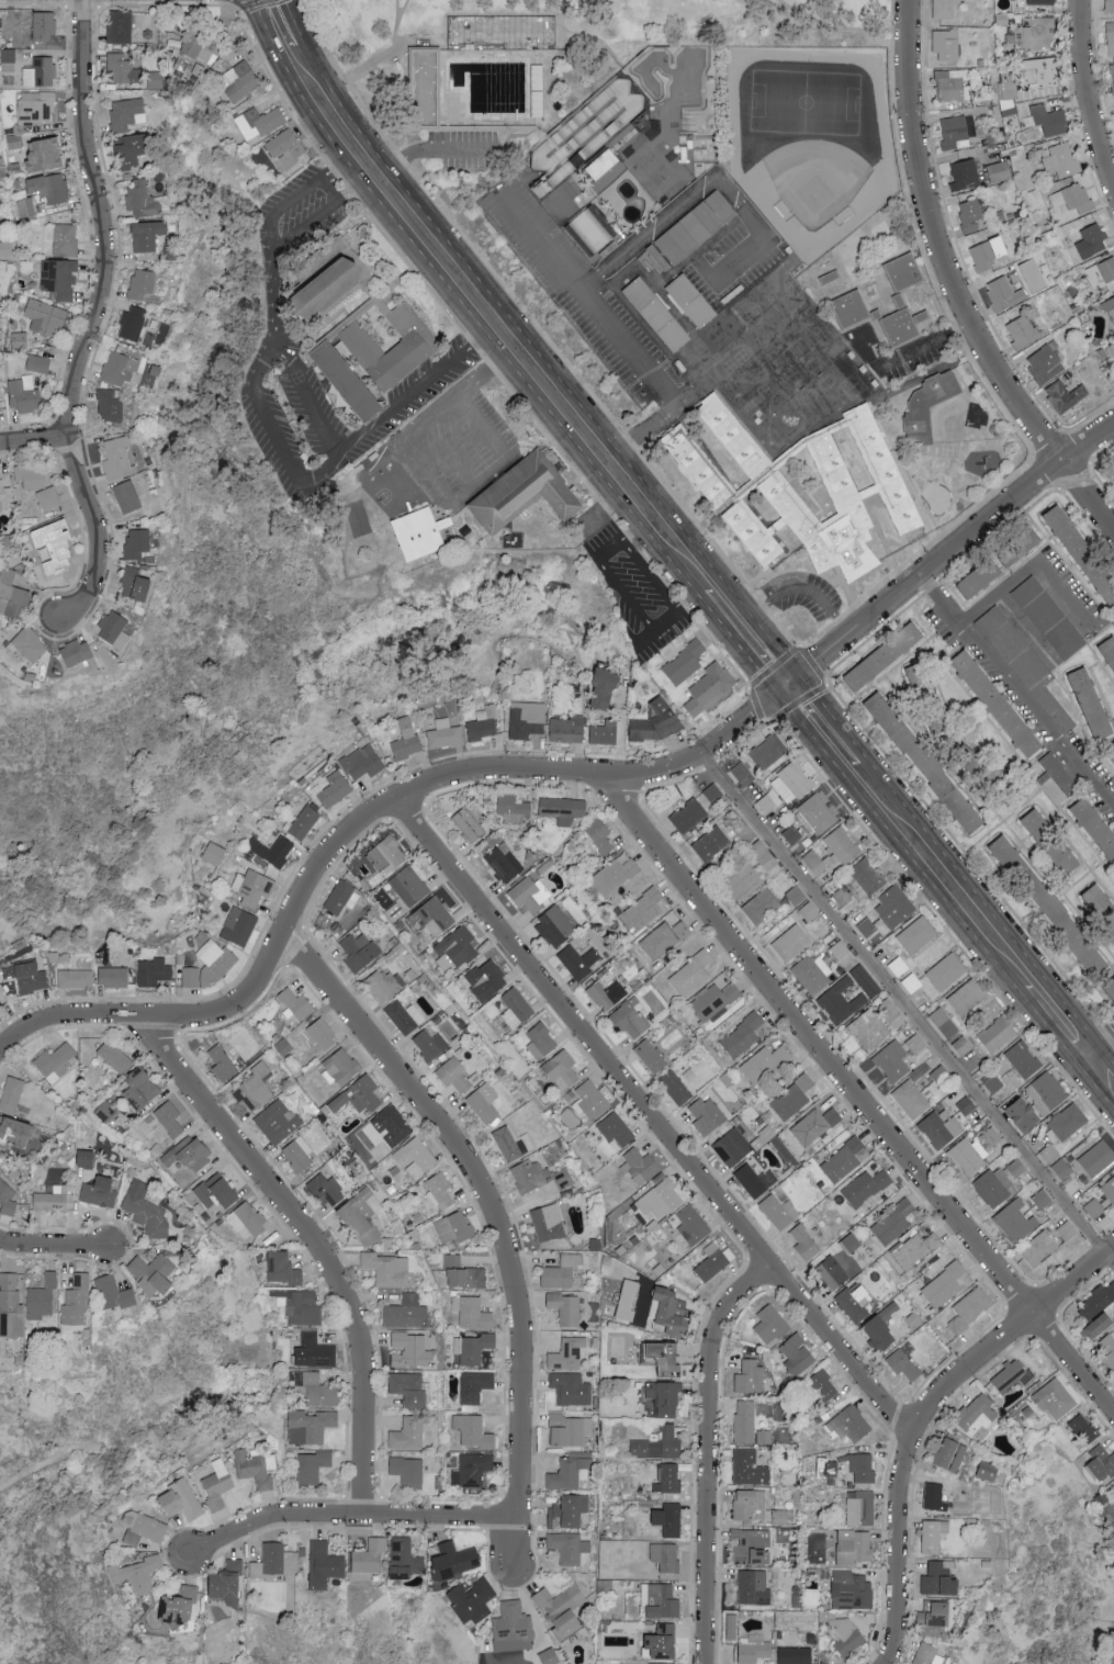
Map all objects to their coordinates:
building: (1043, 2)
road: (763, 5)
building: (1110, 5)
building: (946, 9)
road: (405, 10)
road: (468, 16)
road: (295, 22)
road: (843, 25)
building: (121, 26)
building: (42, 29)
building: (1032, 34)
road: (583, 36)
building: (1111, 37)
building: (946, 44)
building: (201, 47)
road: (386, 59)
building: (9, 60)
park: (542, 65)
building: (124, 68)
building: (1113, 71)
building: (41, 72)
building: (1044, 72)
road: (407, 74)
building: (156, 79)
building: (239, 81)
building: (426, 81)
building: (1013, 88)
road: (1090, 93)
road: (407, 104)
building: (37, 109)
building: (126, 113)
building: (1048, 120)
building: (597, 121)
building: (258, 122)
building: (955, 133)
building: (14, 142)
building: (286, 147)
park: (627, 148)
building: (134, 150)
parking lot: (466, 151)
road: (438, 153)
building: (47, 156)
building: (1064, 160)
building: (603, 165)
building: (1000, 171)
road: (339, 175)
building: (965, 175)
building: (3, 177)
road: (707, 187)
building: (50, 188)
building: (1073, 198)
building: (144, 201)
building: (26, 207)
building: (971, 213)
parking lot: (300, 214)
road: (314, 223)
building: (593, 229)
building: (697, 234)
building: (149, 235)
building: (63, 239)
building: (1093, 241)
building: (5, 249)
building: (989, 254)
parking lot: (741, 260)
building: (1027, 270)
building: (1102, 273)
building: (908, 277)
building: (60, 278)
building: (833, 279)
building: (143, 284)
road: (956, 284)
building: (331, 288)
building: (1004, 294)
parking lot: (584, 297)
road: (459, 299)
building: (900, 301)
building: (697, 303)
building: (1111, 306)
building: (849, 315)
building: (662, 317)
road: (97, 318)
building: (52, 322)
building: (133, 323)
building: (907, 329)
building: (1023, 331)
road: (615, 333)
road: (930, 346)
building: (395, 349)
parking lot: (909, 361)
building: (38, 363)
building: (1045, 364)
road: (545, 366)
building: (121, 369)
building: (854, 374)
building: (348, 382)
building: (25, 395)
building: (1065, 395)
road: (310, 400)
building: (114, 406)
building: (929, 412)
parking lot: (328, 413)
road: (272, 435)
road: (34, 437)
parking lot: (442, 457)
building: (117, 458)
road: (436, 461)
building: (884, 475)
building: (30, 477)
building: (5, 491)
building: (524, 495)
building: (127, 497)
building: (49, 498)
building: (778, 501)
road: (401, 504)
road: (601, 511)
building: (425, 533)
building: (137, 543)
building: (56, 547)
building: (1084, 551)
road: (1032, 567)
building: (986, 578)
parking lot: (627, 582)
building: (137, 585)
road: (691, 588)
road: (804, 589)
parking lot: (802, 595)
building: (13, 596)
building: (1048, 618)
road: (634, 627)
building: (115, 629)
road: (1024, 630)
building: (31, 644)
road: (738, 648)
building: (1110, 648)
building: (80, 655)
building: (882, 659)
building: (685, 662)
building: (1024, 665)
building: (924, 677)
building: (607, 688)
building: (711, 688)
road: (1019, 690)
building: (1093, 701)
building: (1000, 702)
building: (526, 719)
building: (659, 721)
building: (484, 723)
road: (822, 726)
building: (567, 729)
building: (604, 732)
building: (445, 734)
building: (407, 739)
building: (767, 750)
building: (1113, 756)
building: (927, 761)
building: (363, 762)
building: (741, 771)
building: (1059, 774)
road: (553, 775)
building: (791, 783)
building: (333, 789)
building: (713, 792)
building: (768, 801)
building: (514, 808)
building: (564, 809)
building: (815, 813)
building: (688, 816)
building: (304, 822)
building: (1096, 823)
building: (468, 824)
building: (1045, 830)
building: (791, 834)
building: (599, 835)
building: (711, 843)
building: (841, 846)
building: (272, 850)
building: (761, 850)
building: (1009, 853)
building: (215, 854)
building: (386, 856)
building: (814, 862)
building: (504, 864)
building: (615, 875)
road: (943, 875)
building: (864, 879)
building: (742, 881)
building: (252, 886)
building: (409, 886)
building: (530, 893)
building: (796, 895)
building: (339, 896)
building: (842, 897)
building: (1101, 901)
building: (762, 906)
building: (894, 907)
building: (640, 911)
building: (809, 911)
building: (431, 919)
building: (239, 926)
building: (555, 926)
building: (867, 926)
building: (918, 935)
building: (663, 938)
building: (790, 944)
building: (459, 946)
building: (840, 949)
building: (359, 952)
building: (213, 958)
building: (578, 960)
building: (899, 966)
building: (154, 971)
building: (946, 971)
building: (691, 974)
building: (812, 975)
building: (31, 977)
building: (114, 977)
building: (190, 977)
building: (76, 978)
building: (487, 979)
building: (866, 980)
building: (912, 982)
building: (382, 986)
building: (1110, 991)
building: (607, 992)
building: (967, 997)
building: (0, 1000)
building: (716, 1000)
building: (841, 1001)
building: (297, 1003)
building: (516, 1008)
road: (908, 1011)
building: (891, 1012)
building: (404, 1016)
road: (1060, 1019)
building: (631, 1020)
building: (944, 1023)
building: (869, 1030)
building: (997, 1033)
building: (743, 1035)
building: (319, 1036)
building: (541, 1041)
building: (430, 1043)
building: (916, 1044)
building: (963, 1045)
road: (1102, 1046)
building: (651, 1056)
building: (115, 1057)
building: (1023, 1059)
building: (892, 1060)
building: (55, 1061)
building: (223, 1063)
building: (765, 1063)
building: (866, 1065)
building: (340, 1066)
building: (562, 1067)
road: (1102, 1070)
building: (941, 1073)
building: (455, 1075)
building: (879, 1080)
building: (993, 1082)
building: (143, 1088)
building: (256, 1088)
building: (676, 1088)
building: (12, 1094)
building: (359, 1095)
road: (858, 1095)
building: (794, 1098)
building: (911, 1099)
building: (592, 1100)
building: (1037, 1102)
building: (484, 1103)
building: (707, 1115)
building: (170, 1118)
road: (654, 1120)
building: (278, 1121)
building: (1068, 1122)
building: (393, 1125)
building: (815, 1125)
building: (941, 1127)
building: (15, 1128)
building: (616, 1131)
building: (992, 1136)
building: (506, 1144)
building: (733, 1147)
building: (190, 1153)
building: (299, 1154)
building: (966, 1157)
building: (1098, 1157)
building: (88, 1158)
building: (415, 1158)
building: (845, 1159)
building: (641, 1166)
building: (1017, 1168)
building: (1062, 1168)
building: (531, 1174)
building: (756, 1180)
building: (866, 1187)
building: (994, 1187)
building: (327, 1188)
building: (1110, 1189)
building: (218, 1190)
building: (440, 1190)
building: (8, 1191)
building: (100, 1192)
building: (662, 1199)
building: (1043, 1199)
building: (50, 1201)
building: (1094, 1208)
building: (146, 1211)
building: (779, 1212)
building: (361, 1217)
road: (495, 1218)
building: (247, 1219)
building: (1016, 1221)
building: (549, 1222)
building: (894, 1222)
building: (693, 1225)
building: (454, 1227)
building: (1067, 1230)
building: (847, 1239)
road: (315, 1244)
building: (804, 1244)
road: (56, 1247)
building: (915, 1249)
building: (1038, 1249)
building: (714, 1261)
building: (285, 1268)
building: (387, 1269)
building: (562, 1271)
building: (464, 1273)
building: (832, 1273)
building: (153, 1274)
building: (945, 1285)
building: (113, 1293)
building: (42, 1298)
building: (77, 1298)
building: (629, 1300)
building: (1098, 1301)
building: (855, 1302)
building: (11, 1306)
building: (300, 1306)
building: (566, 1307)
building: (970, 1309)
building: (673, 1311)
building: (407, 1313)
building: (473, 1313)
building: (772, 1325)
building: (1101, 1325)
building: (884, 1328)
building: (1106, 1348)
building: (408, 1349)
building: (475, 1349)
building: (316, 1350)
building: (571, 1351)
building: (797, 1354)
building: (667, 1357)
building: (903, 1364)
building: (750, 1376)
building: (1013, 1376)
building: (823, 1384)
building: (409, 1388)
building: (474, 1388)
building: (571, 1388)
building: (318, 1391)
building: (665, 1398)
building: (1056, 1399)
building: (978, 1416)
road: (924, 1417)
building: (745, 1421)
building: (851, 1424)
building: (311, 1426)
building: (1084, 1428)
building: (570, 1430)
building: (473, 1431)
building: (408, 1433)
building: (765, 1437)
building: (659, 1446)
road: (710, 1453)
building: (950, 1454)
building: (1103, 1462)
building: (313, 1466)
building: (862, 1466)
building: (749, 1468)
building: (844, 1468)
building: (256, 1469)
building: (832, 1469)
building: (472, 1470)
building: (408, 1471)
building: (569, 1471)
building: (988, 1471)
building: (668, 1479)
building: (217, 1485)
building: (934, 1493)
building: (183, 1499)
building: (750, 1505)
building: (860, 1508)
building: (571, 1511)
building: (779, 1517)
building: (669, 1519)
road: (350, 1520)
building: (144, 1528)
building: (933, 1536)
building: (749, 1543)
building: (569, 1547)
building: (855, 1547)
building: (370, 1556)
building: (666, 1556)
building: (763, 1558)
building: (405, 1559)
building: (457, 1561)
building: (269, 1562)
building: (324, 1565)
building: (138, 1574)
building: (941, 1579)
building: (229, 1583)
building: (754, 1588)
building: (852, 1590)
building: (473, 1600)
building: (661, 1600)
building: (181, 1606)
building: (563, 1607)
building: (935, 1618)
building: (732, 1627)
building: (514, 1628)
building: (847, 1635)
building: (664, 1641)
building: (755, 1650)
building: (929, 1654)
building: (796, 1655)
building: (551, 1656)
building: (668, 1663)

